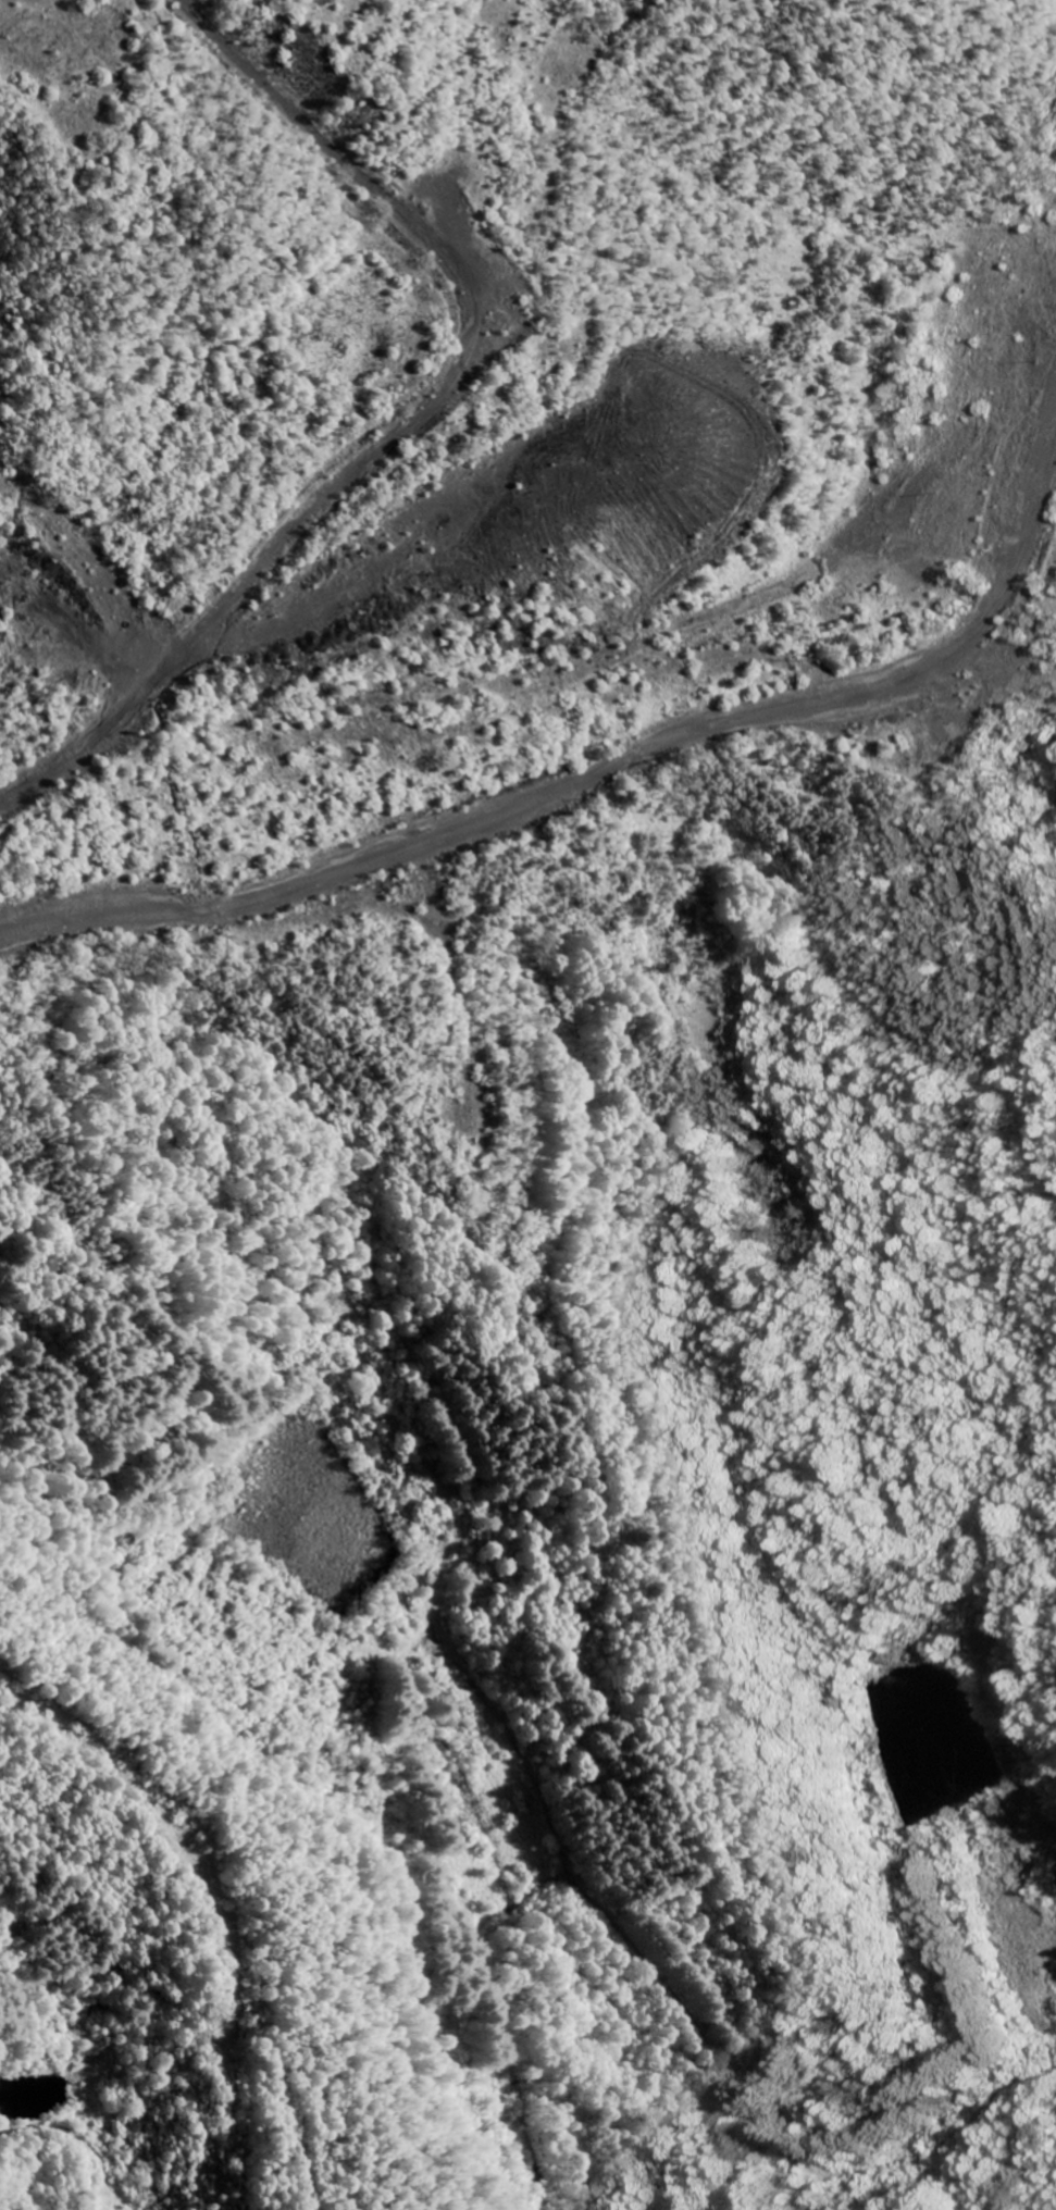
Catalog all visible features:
road: (413, 421)
road: (601, 770)
road: (881, 971)
road: (171, 1811)
road: (666, 1972)
road: (80, 2144)

